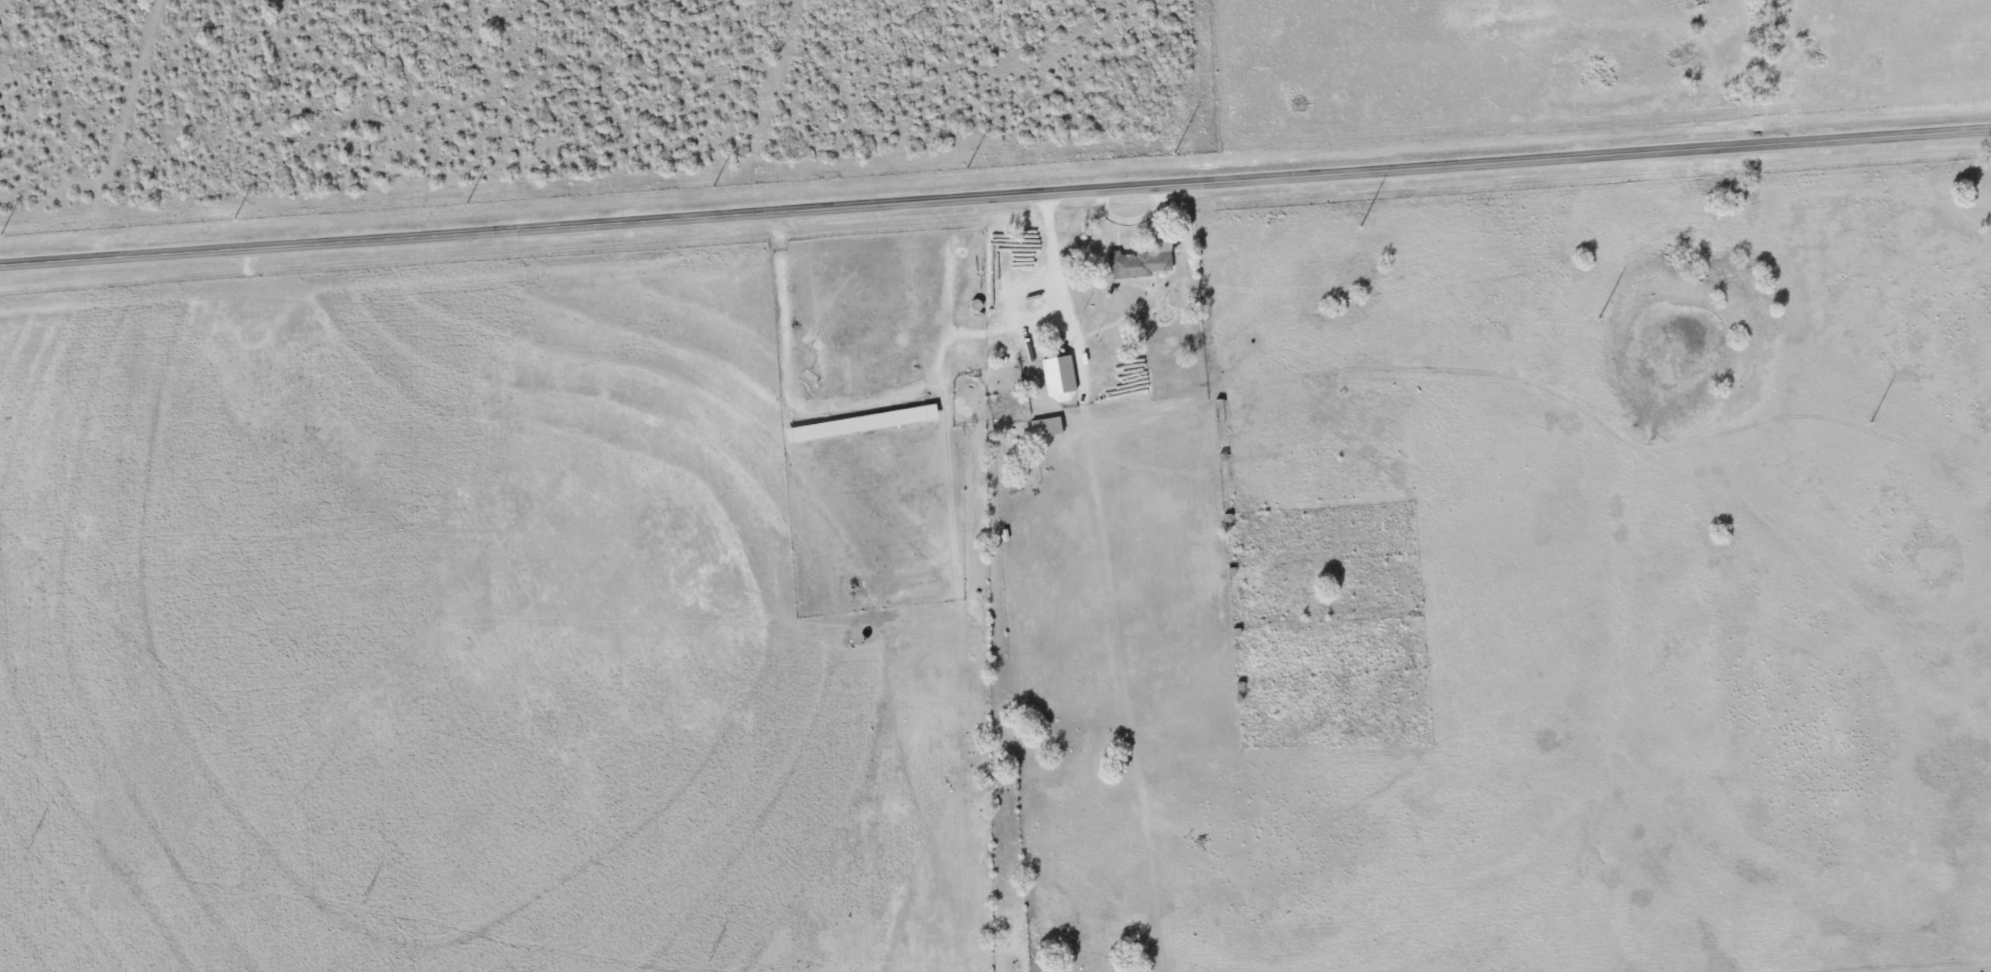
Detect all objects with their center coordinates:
power tower: (1178, 152)
power tower: (971, 167)
power tower: (714, 185)
road: (995, 200)
power tower: (468, 201)
power tower: (235, 213)
power tower: (1362, 229)
power tower: (2, 232)
building: (1137, 265)
road: (1060, 282)
power tower: (1595, 314)
building: (1057, 377)
power tower: (1868, 422)
building: (1044, 429)
power tower: (27, 844)
power tower: (360, 900)
power tower: (710, 959)

